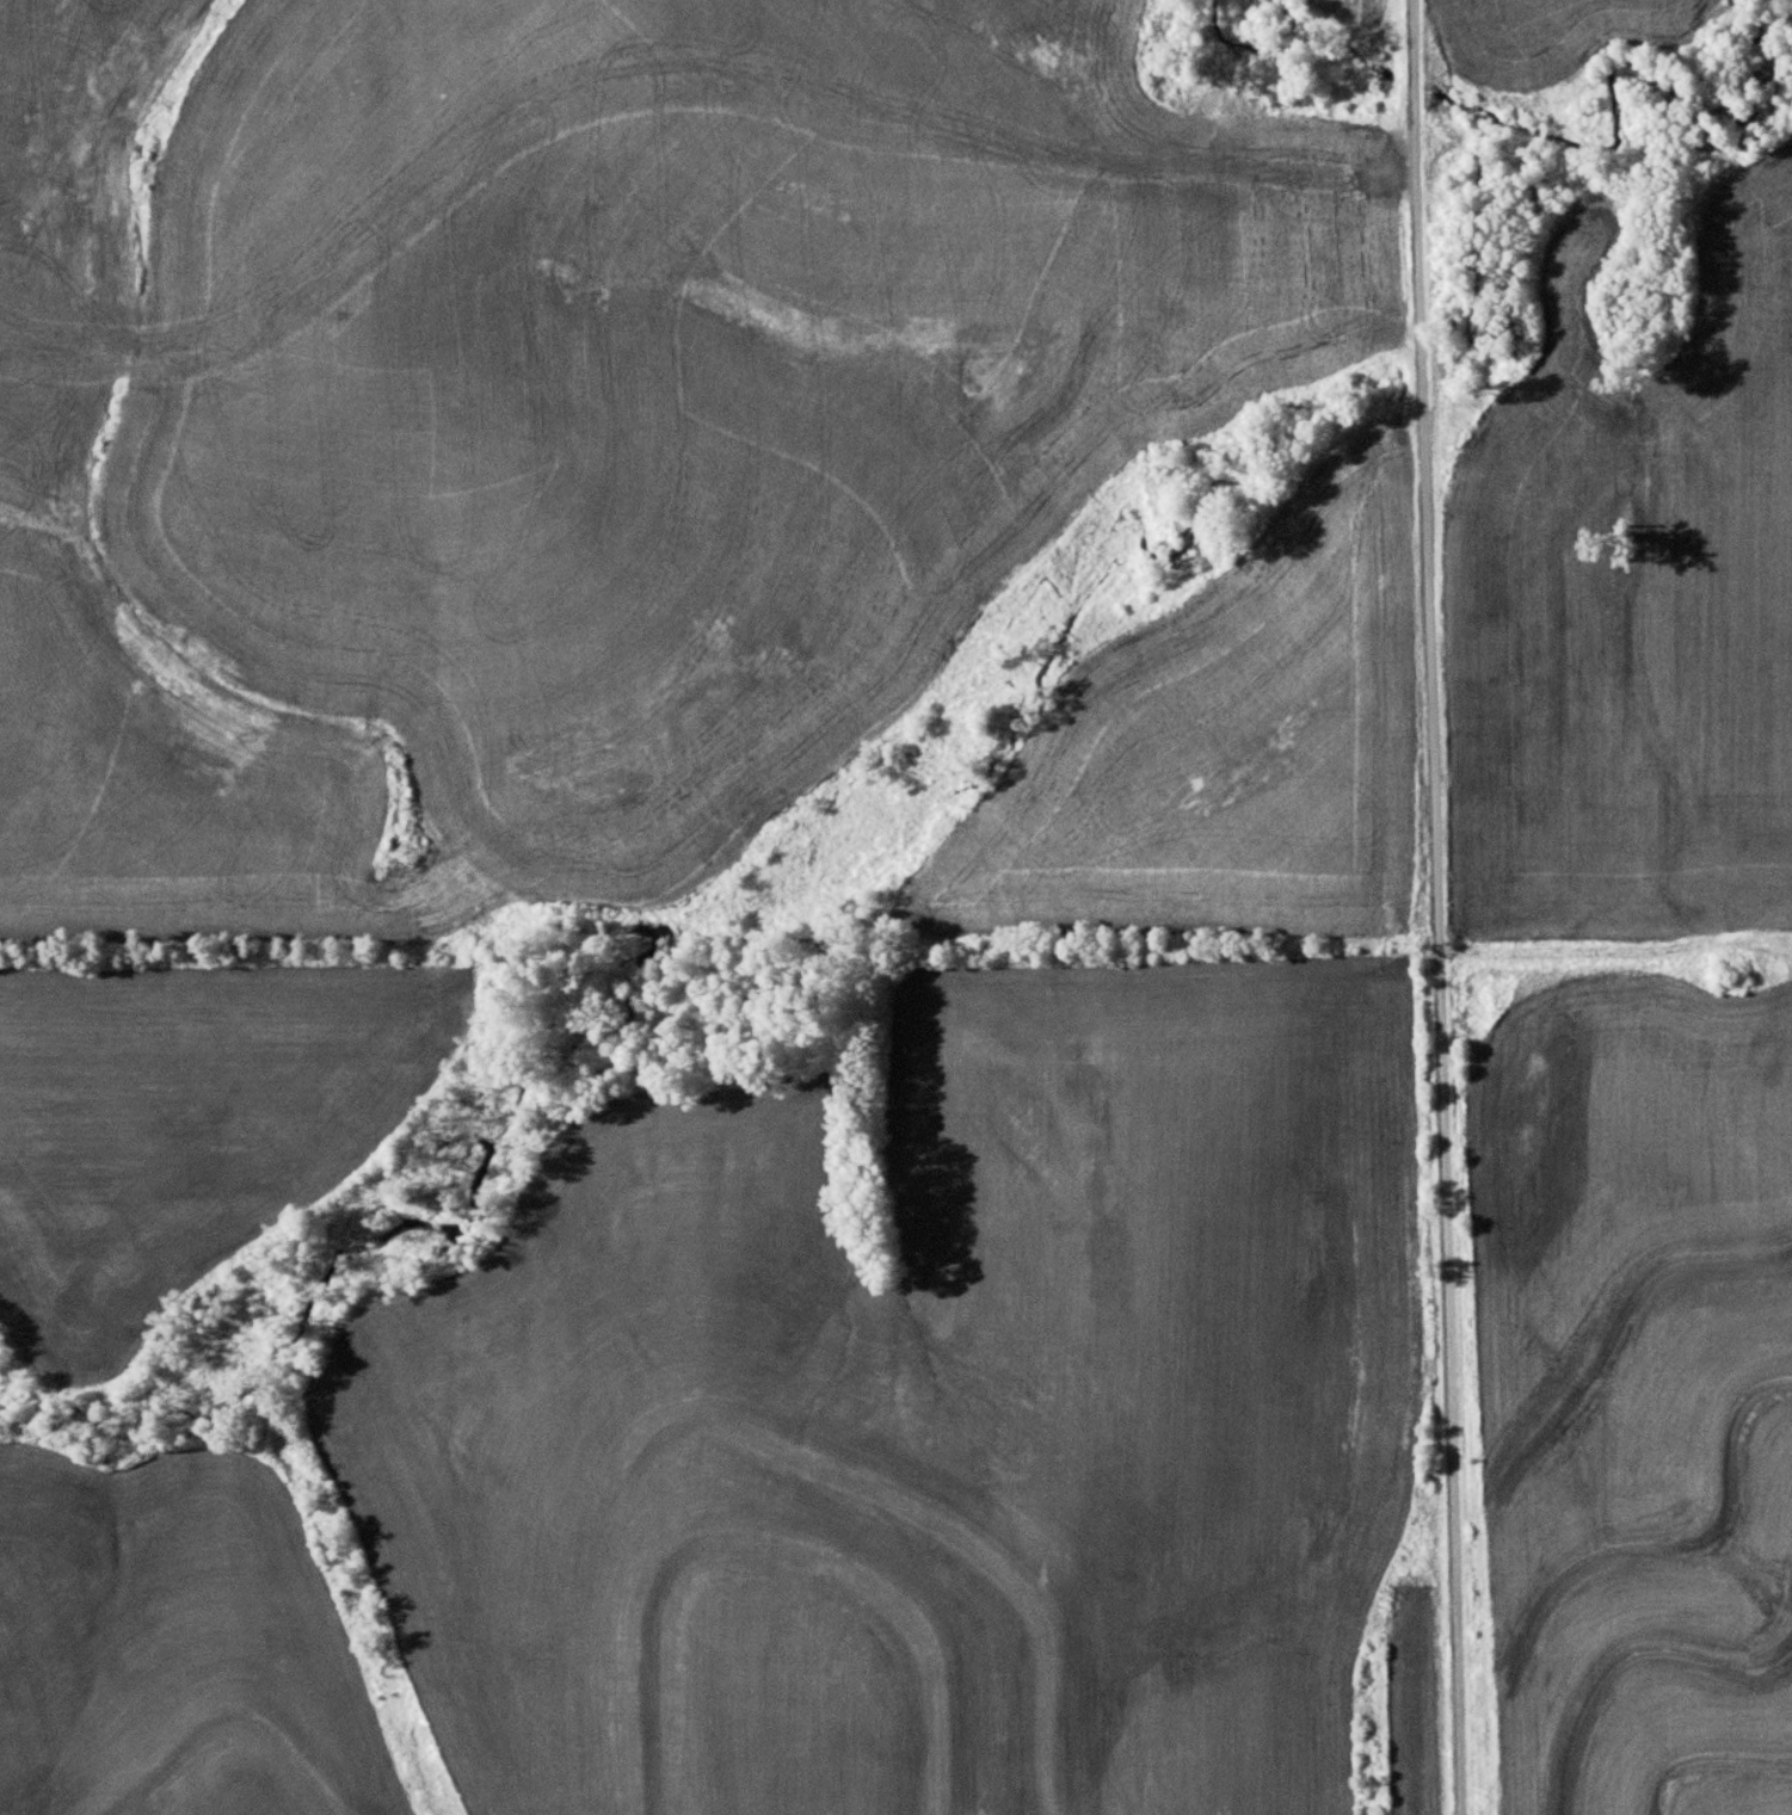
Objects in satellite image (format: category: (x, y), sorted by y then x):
road: (1439, 907)

